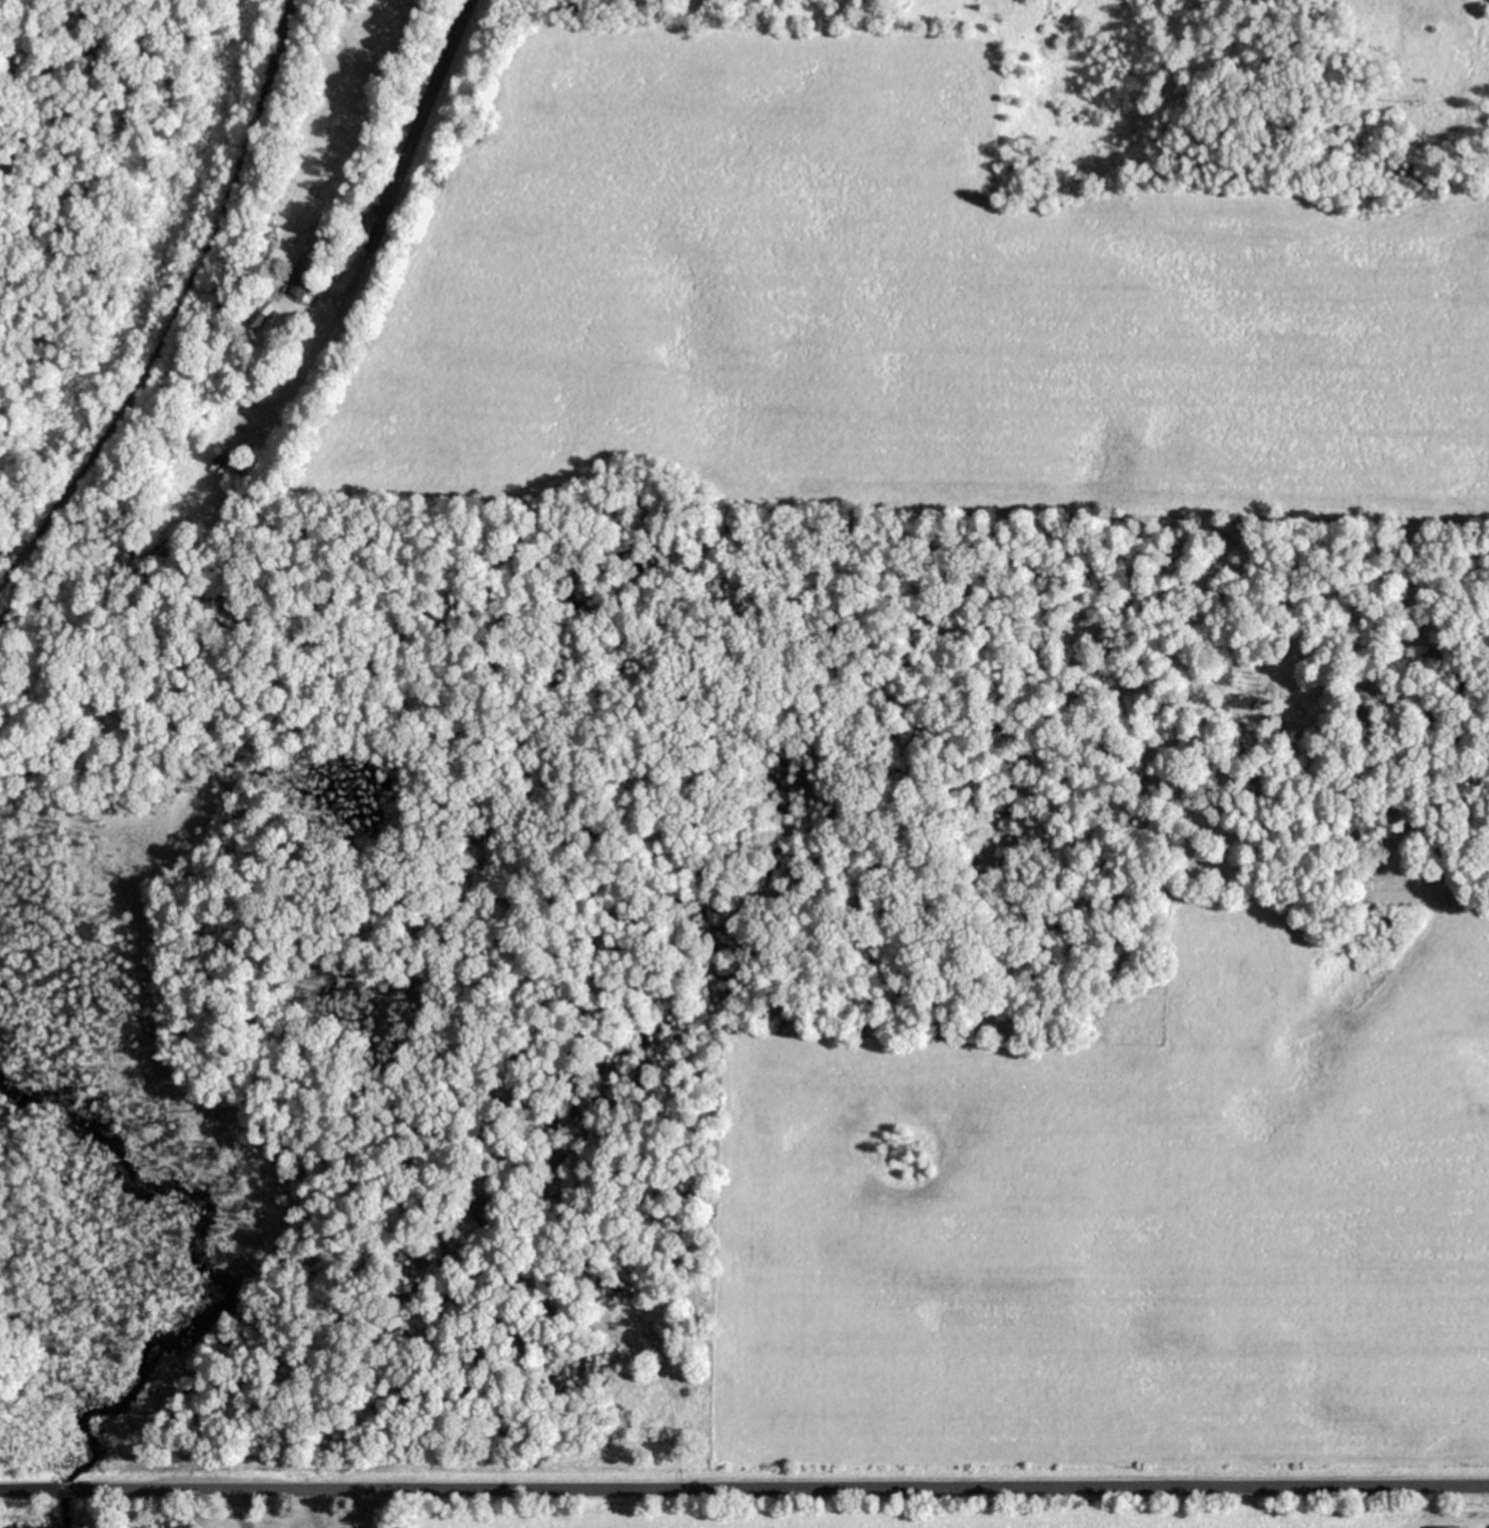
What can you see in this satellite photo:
road: (403, 136)
building: (267, 234)
building: (298, 287)
road: (175, 305)
building: (259, 313)
building: (222, 465)
road: (744, 1483)

